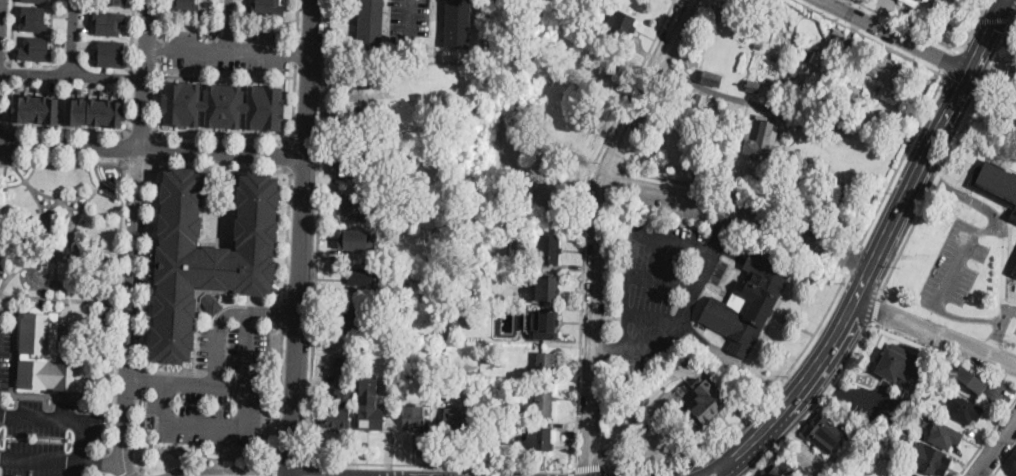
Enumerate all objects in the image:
building: (38, 0)
building: (932, 0)
building: (117, 1)
road: (1004, 1)
building: (914, 2)
road: (1010, 3)
building: (184, 4)
building: (268, 6)
park: (932, 13)
road: (228, 14)
road: (1015, 15)
building: (34, 18)
road: (161, 18)
road: (297, 20)
road: (995, 20)
road: (1014, 20)
building: (110, 21)
road: (412, 23)
building: (458, 23)
building: (591, 23)
building: (621, 23)
traffic signals: (992, 25)
building: (371, 26)
road: (11, 31)
road: (921, 33)
road: (133, 35)
building: (838, 35)
road: (894, 35)
road: (870, 36)
road: (73, 37)
road: (227, 40)
road: (160, 45)
building: (858, 45)
building: (758, 46)
building: (36, 49)
parking lot: (227, 50)
road: (296, 51)
building: (112, 52)
road: (229, 52)
building: (816, 57)
road: (951, 60)
building: (869, 70)
road: (9, 71)
road: (227, 71)
road: (72, 75)
road: (131, 77)
building: (358, 78)
building: (712, 78)
building: (1015, 83)
building: (753, 86)
road: (710, 90)
building: (852, 92)
road: (977, 95)
building: (891, 96)
building: (699, 102)
building: (223, 103)
road: (8, 104)
building: (37, 107)
building: (90, 110)
park: (789, 113)
building: (1010, 113)
building: (353, 117)
road: (4, 128)
road: (91, 130)
road: (141, 132)
road: (222, 135)
building: (390, 136)
road: (7, 140)
building: (760, 140)
park: (519, 142)
road: (124, 147)
road: (153, 148)
road: (155, 148)
road: (23, 157)
road: (900, 159)
road: (2, 160)
road: (93, 160)
road: (139, 163)
building: (350, 166)
road: (606, 166)
road: (287, 168)
road: (935, 182)
building: (996, 183)
road: (112, 189)
road: (743, 194)
parking lot: (972, 198)
parking lot: (666, 205)
road: (82, 206)
building: (356, 207)
road: (740, 209)
road: (3, 213)
road: (892, 222)
park: (62, 224)
road: (597, 227)
road: (721, 228)
road: (318, 231)
road: (303, 236)
road: (135, 238)
building: (436, 238)
building: (358, 239)
road: (1003, 239)
road: (905, 244)
building: (548, 249)
road: (46, 251)
building: (208, 255)
road: (852, 257)
road: (23, 261)
parking lot: (953, 266)
road: (87, 271)
building: (1014, 271)
building: (364, 276)
road: (56, 279)
road: (661, 280)
parking lot: (661, 282)
road: (943, 283)
building: (547, 290)
road: (117, 293)
road: (60, 298)
building: (748, 303)
parking lot: (1014, 309)
road: (283, 311)
road: (876, 312)
road: (1010, 312)
building: (104, 313)
road: (274, 315)
building: (404, 315)
road: (653, 315)
road: (145, 316)
building: (354, 316)
road: (623, 321)
building: (543, 325)
parking lot: (1015, 331)
road: (935, 332)
building: (35, 335)
building: (102, 342)
road: (607, 349)
parking lot: (5, 356)
building: (445, 357)
road: (579, 357)
building: (690, 359)
road: (219, 361)
building: (546, 363)
building: (445, 366)
building: (898, 366)
road: (674, 372)
building: (927, 375)
building: (52, 377)
road: (140, 380)
building: (970, 380)
parking lot: (219, 383)
road: (233, 386)
building: (931, 386)
building: (625, 387)
building: (403, 392)
road: (279, 394)
building: (342, 394)
building: (544, 403)
building: (706, 403)
building: (369, 404)
road: (755, 406)
road: (817, 406)
building: (964, 409)
building: (506, 412)
road: (62, 416)
building: (414, 418)
building: (457, 424)
road: (233, 432)
building: (824, 434)
building: (944, 435)
road: (985, 435)
parking lot: (47, 438)
building: (542, 440)
road: (995, 446)
road: (206, 450)
road: (724, 453)
road: (749, 456)
road: (46, 459)
building: (930, 459)
road: (1003, 459)
road: (108, 461)
road: (291, 462)
road: (111, 464)
road: (589, 467)
building: (778, 469)
building: (865, 469)
road: (276, 470)
road: (521, 470)
road: (135, 472)
road: (345, 472)
road: (237, 473)
road: (284, 474)
road: (411, 474)
road: (679, 474)
road: (444, 475)
building: (759, 475)
building: (915, 475)

